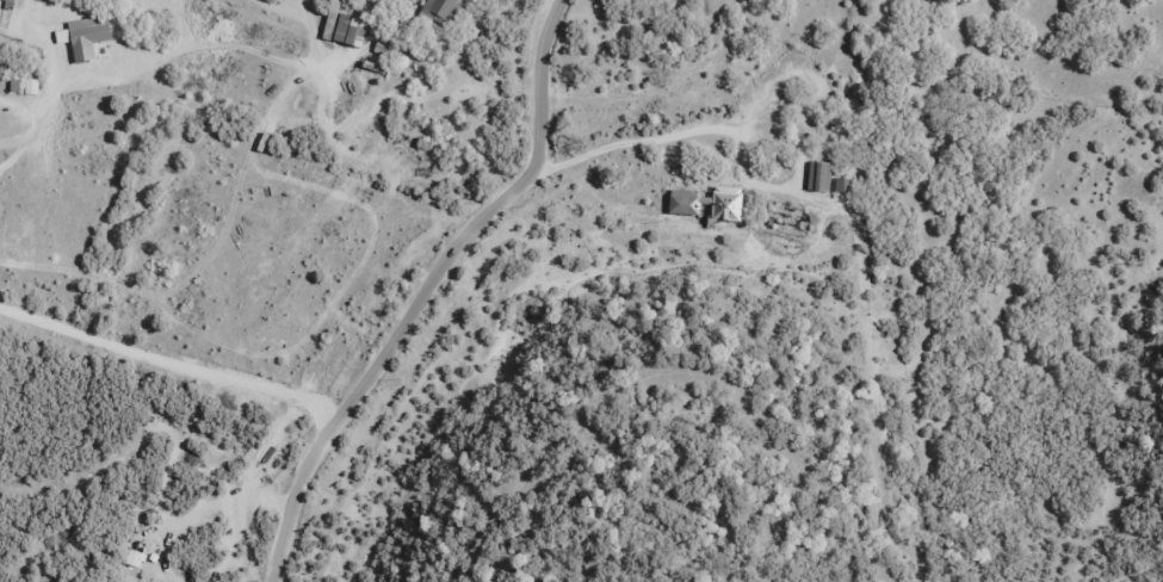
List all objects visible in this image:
building: (5, 2)
building: (438, 12)
building: (348, 31)
building: (85, 37)
building: (817, 175)
building: (842, 185)
building: (705, 202)
road: (426, 290)

